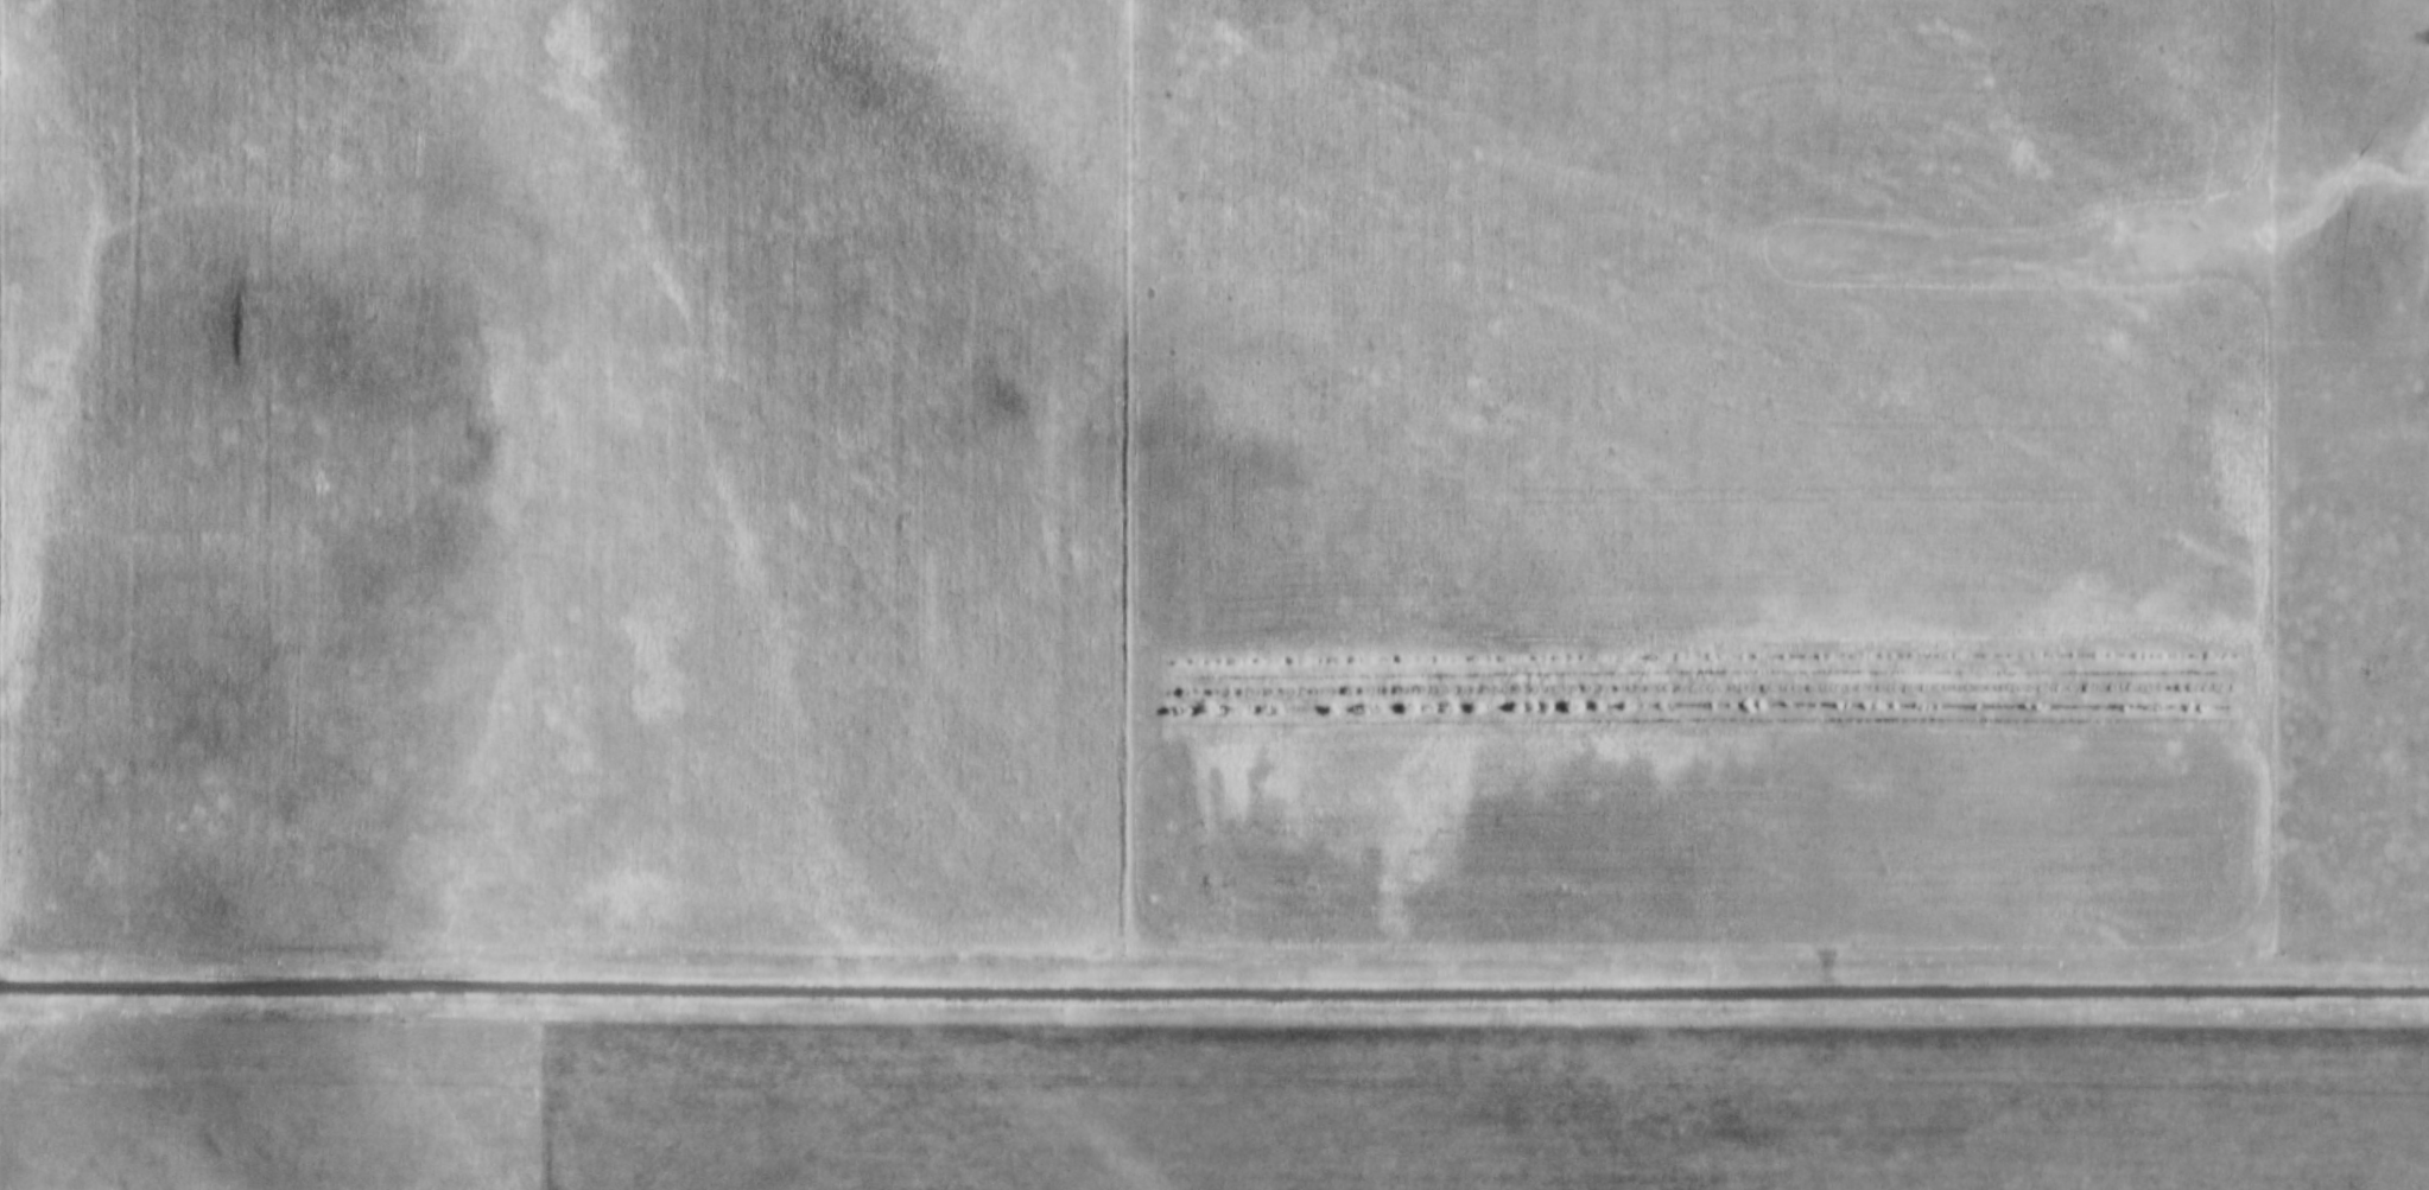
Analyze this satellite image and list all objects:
dam: (2421, 23)
road: (1213, 994)

